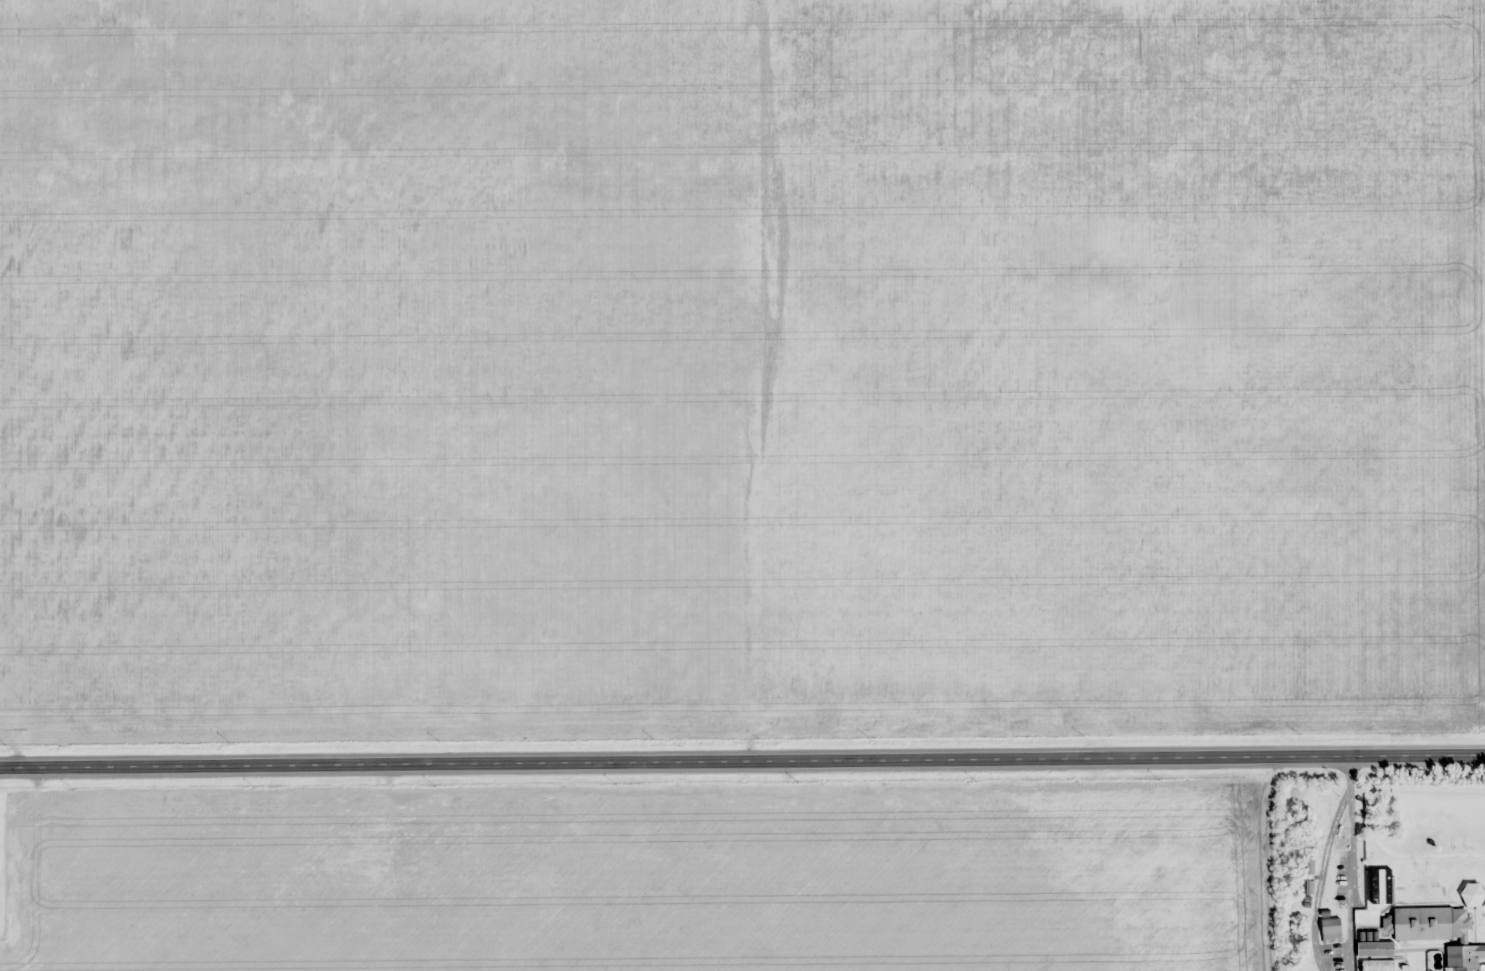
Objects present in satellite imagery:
road: (742, 764)
building: (1428, 924)
building: (1332, 927)
building: (1462, 958)

